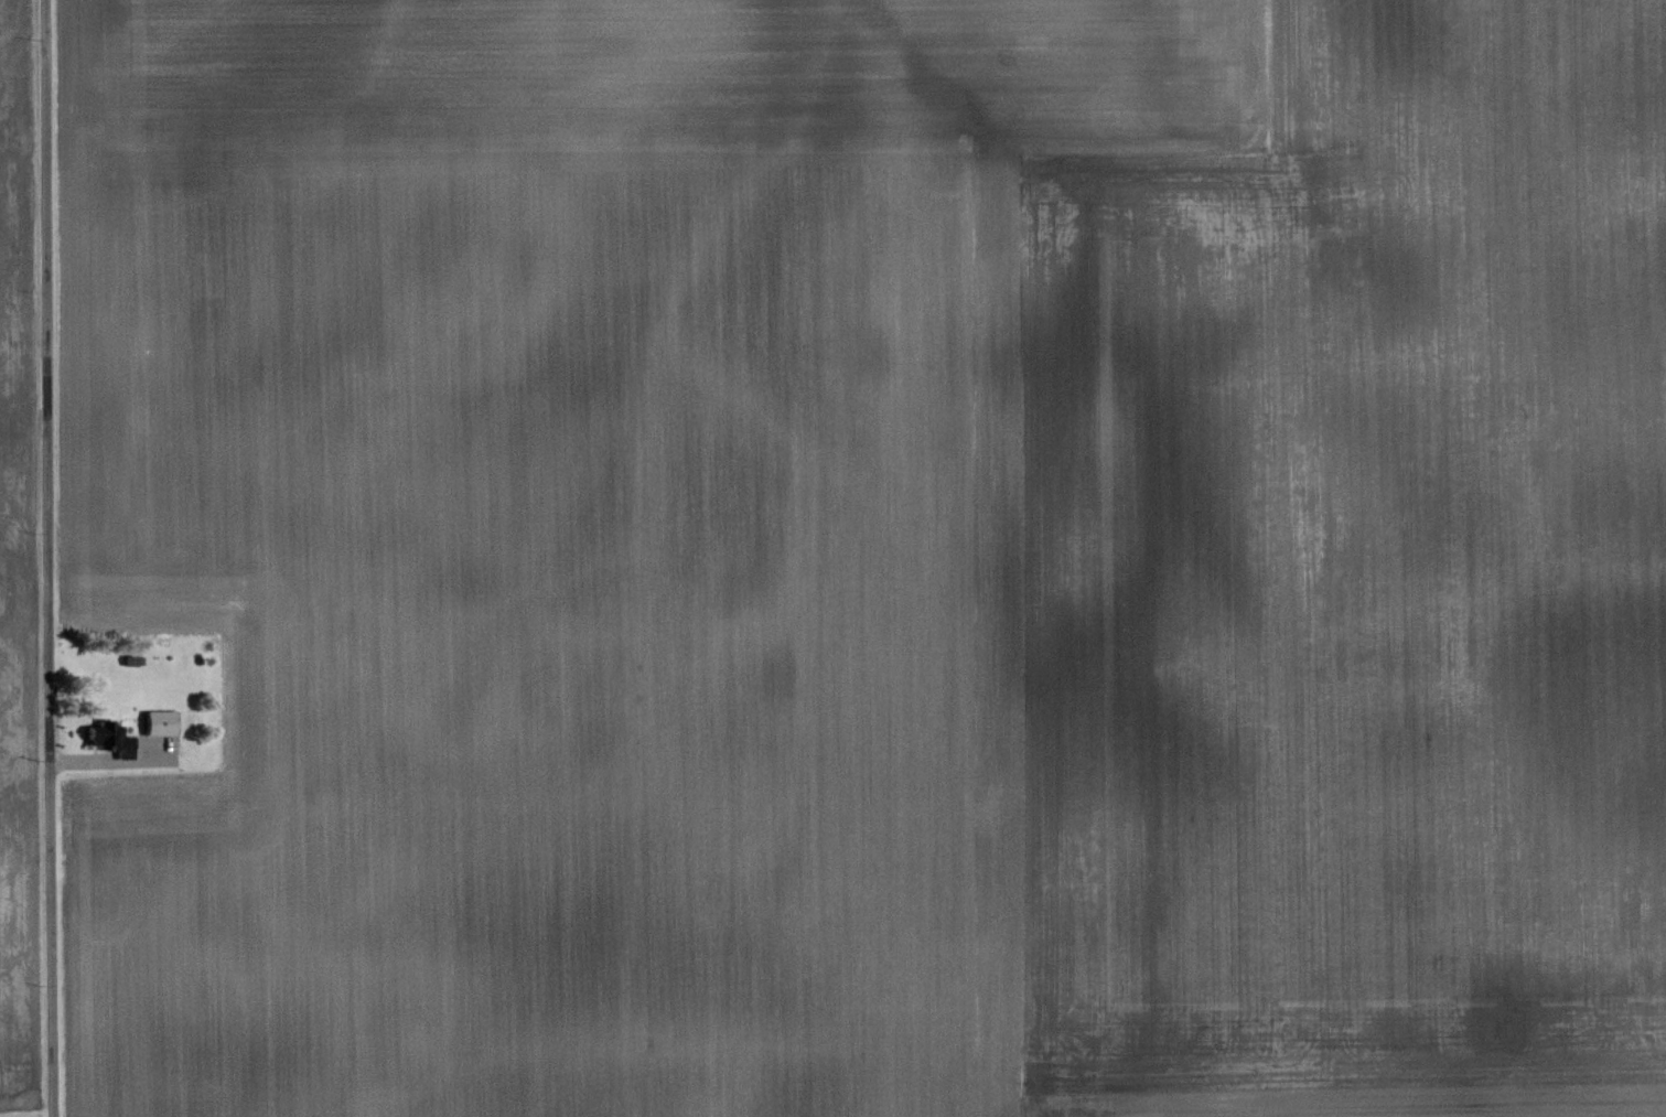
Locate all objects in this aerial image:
road: (47, 558)

